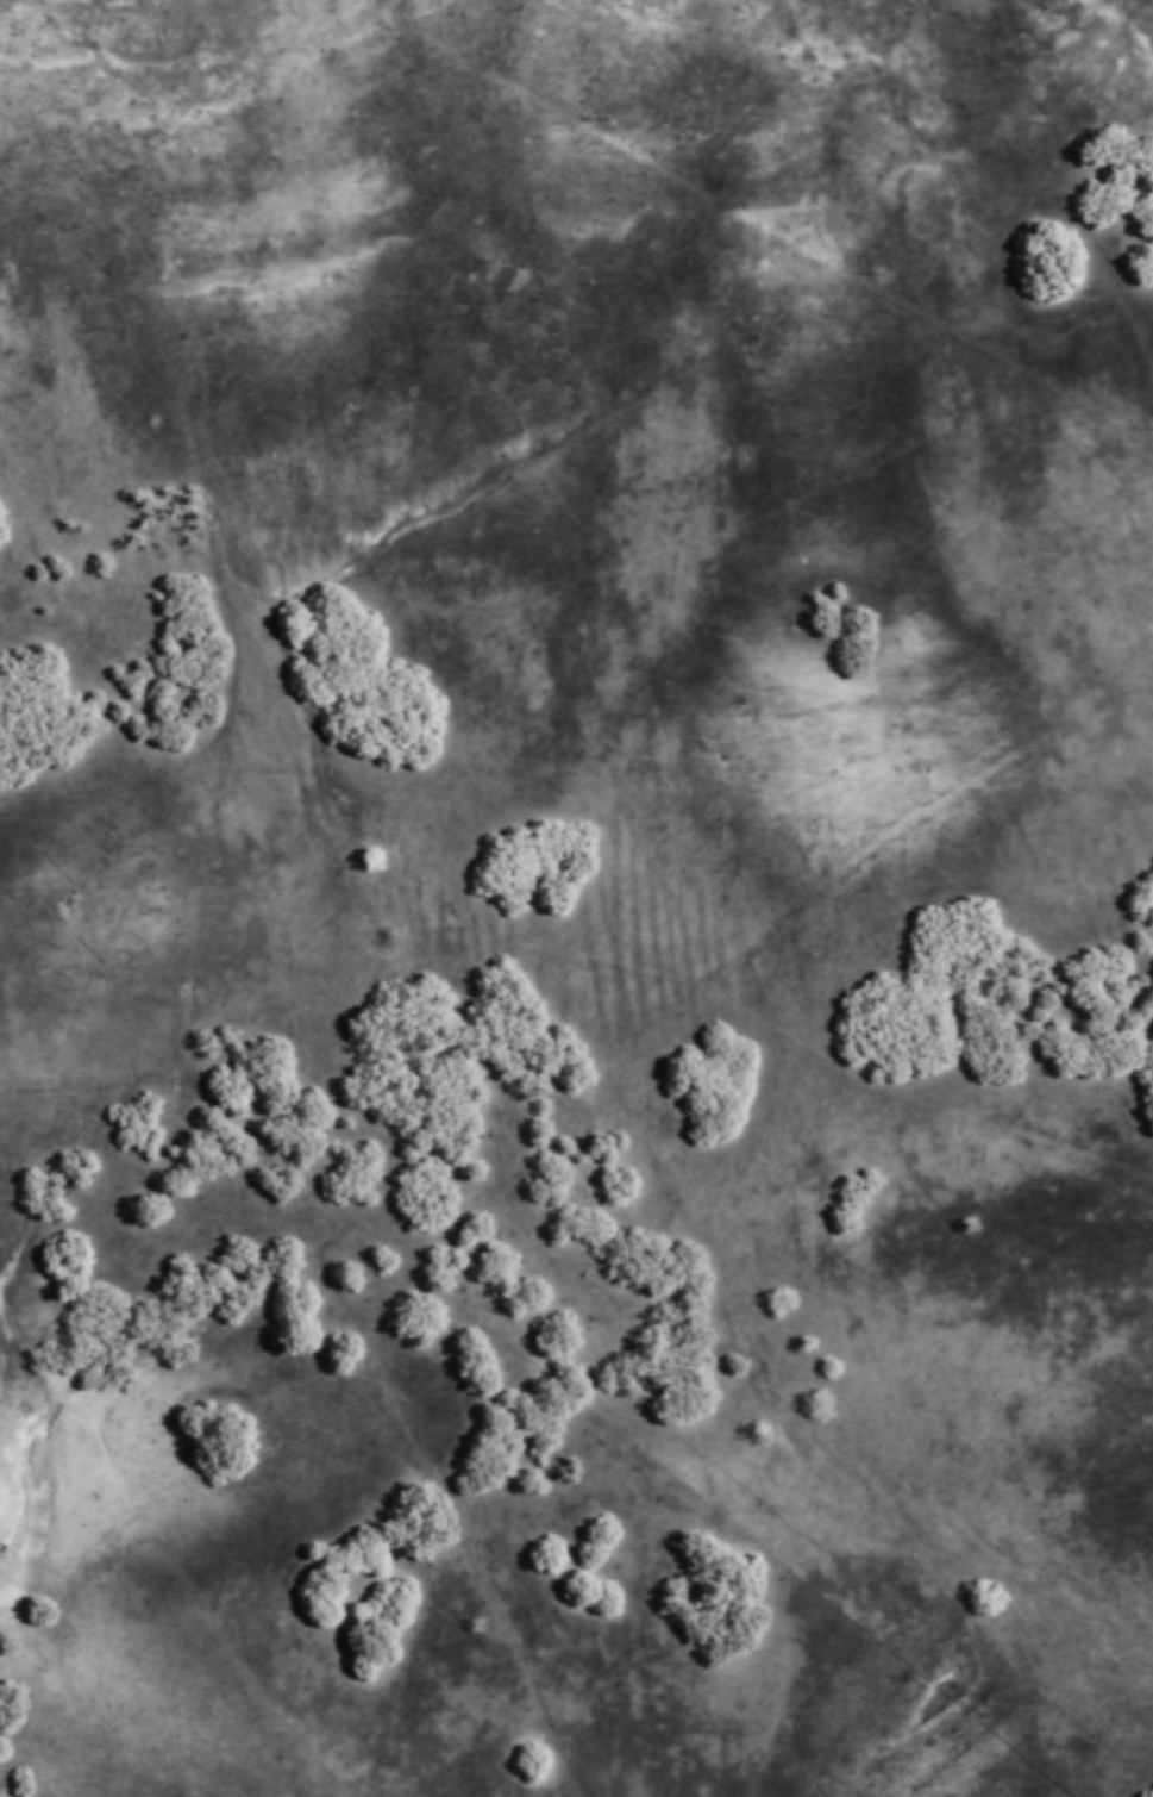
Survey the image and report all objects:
power tower: (402, 1)
power tower: (807, 231)

